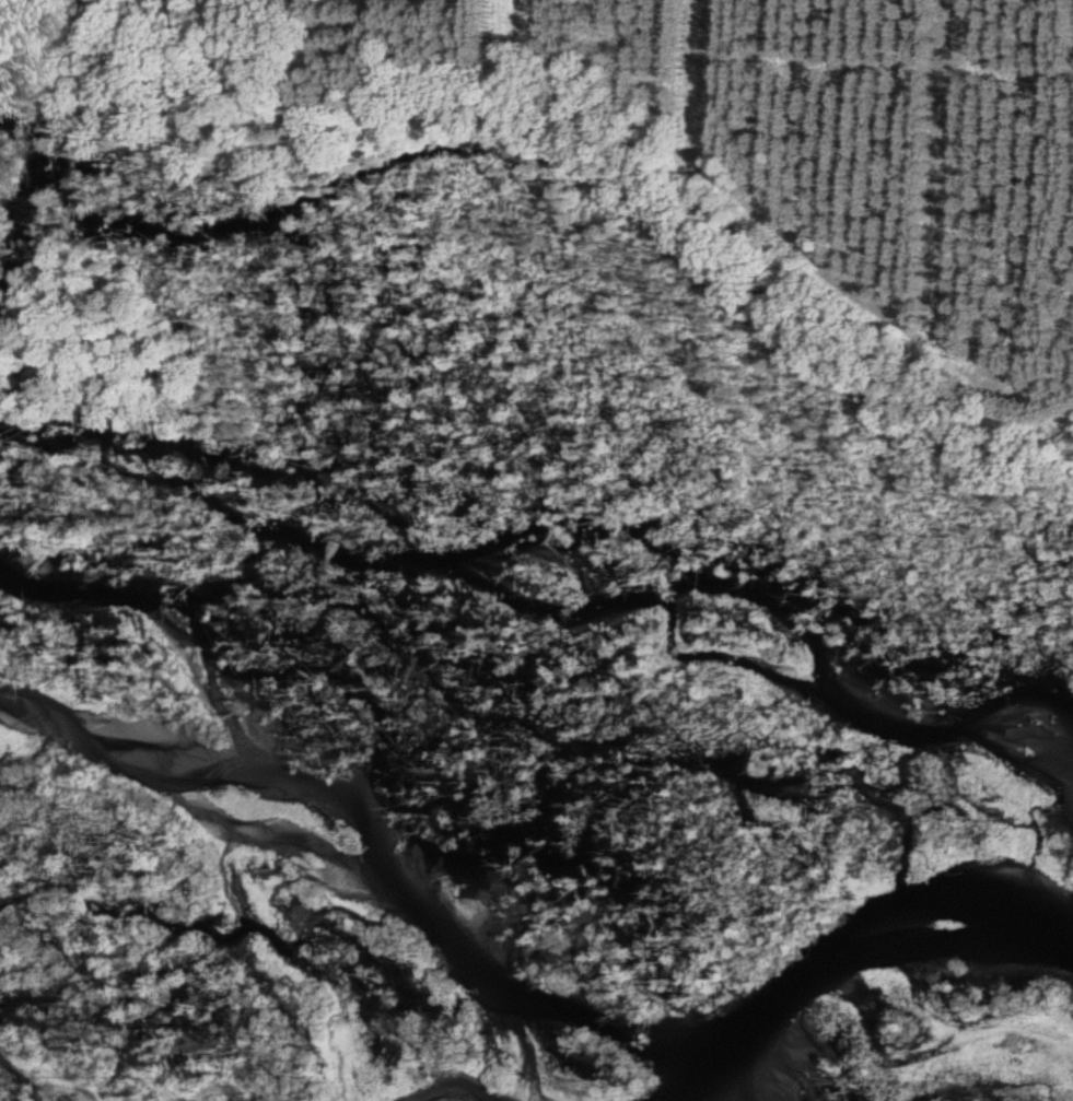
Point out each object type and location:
river: (852, 956)
river: (79, 1061)

